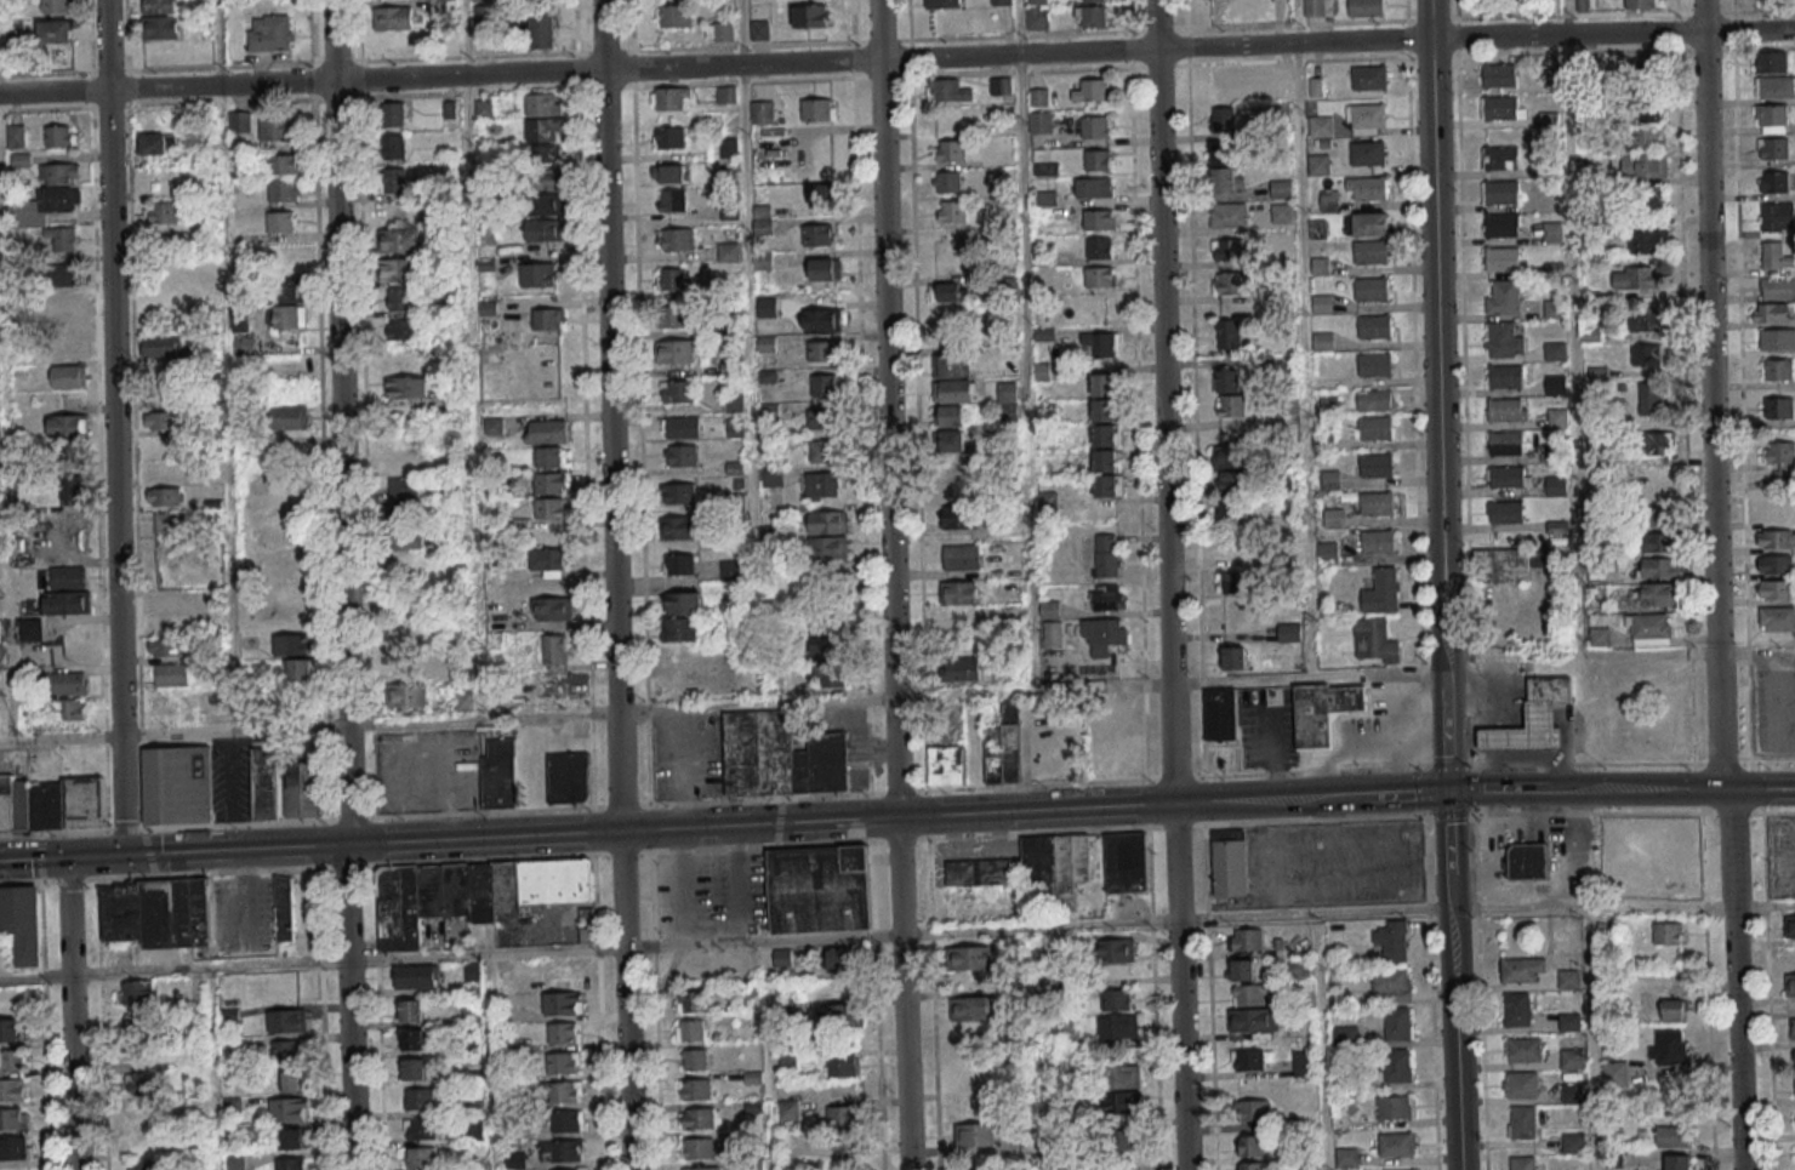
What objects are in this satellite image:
building: (1095, 0)
building: (1001, 1)
building: (944, 2)
building: (1641, 4)
building: (57, 6)
building: (160, 6)
building: (1318, 7)
building: (1367, 7)
park: (1508, 7)
building: (809, 15)
building: (673, 16)
building: (1092, 16)
building: (393, 17)
building: (1037, 17)
building: (160, 27)
building: (538, 29)
building: (758, 29)
building: (56, 30)
building: (720, 30)
building: (269, 32)
road: (896, 58)
building: (1772, 62)
building: (1647, 68)
building: (1499, 76)
building: (1223, 80)
building: (1368, 80)
building: (999, 85)
building: (1774, 86)
building: (947, 90)
building: (1092, 91)
building: (725, 95)
road: (1019, 95)
building: (669, 98)
building: (483, 109)
building: (817, 109)
building: (1499, 109)
building: (1649, 109)
building: (762, 112)
building: (393, 114)
building: (543, 116)
building: (1367, 118)
building: (1772, 118)
building: (1223, 119)
building: (1548, 119)
building: (240, 121)
building: (1039, 122)
building: (1095, 126)
building: (1321, 127)
building: (277, 129)
building: (16, 136)
building: (59, 136)
building: (668, 137)
building: (1649, 138)
building: (158, 145)
building: (393, 145)
building: (1773, 148)
building: (948, 150)
building: (543, 153)
building: (1366, 154)
building: (1098, 159)
building: (1501, 159)
building: (285, 164)
building: (1651, 165)
building: (1318, 166)
building: (1225, 167)
building: (1550, 169)
building: (668, 172)
building: (545, 178)
building: (394, 179)
building: (947, 181)
building: (1774, 181)
building: (1093, 187)
building: (284, 189)
building: (1369, 189)
building: (1281, 190)
building: (822, 193)
building: (1500, 194)
building: (49, 195)
building: (672, 199)
building: (1329, 199)
building: (1649, 201)
building: (543, 205)
building: (952, 211)
building: (163, 213)
building: (1281, 213)
building: (1229, 215)
building: (1778, 216)
building: (763, 219)
building: (1098, 219)
building: (281, 221)
building: (1501, 226)
building: (1369, 227)
building: (543, 230)
building: (1552, 233)
building: (816, 234)
building: (63, 238)
building: (677, 239)
building: (395, 240)
building: (1648, 241)
building: (1099, 247)
building: (728, 250)
building: (1229, 250)
building: (1369, 252)
building: (1776, 256)
building: (1501, 261)
building: (1320, 267)
building: (824, 269)
building: (397, 270)
building: (537, 274)
building: (65, 276)
building: (1100, 276)
building: (1634, 276)
building: (673, 280)
building: (1231, 284)
building: (1778, 289)
building: (948, 291)
building: (1371, 291)
building: (67, 299)
building: (401, 299)
building: (1503, 299)
building: (1322, 304)
building: (287, 306)
building: (1554, 310)
building: (1771, 312)
building: (676, 316)
building: (548, 318)
building: (821, 319)
building: (1647, 320)
building: (70, 325)
building: (1373, 329)
building: (404, 332)
building: (1229, 333)
building: (1778, 338)
building: (1323, 342)
building: (1503, 342)
building: (1101, 343)
road: (1436, 343)
building: (161, 346)
building: (68, 349)
building: (674, 350)
building: (822, 350)
building: (1555, 352)
building: (1648, 354)
building: (1010, 364)
building: (951, 366)
building: (1374, 366)
building: (1777, 369)
building: (1044, 371)
building: (69, 376)
building: (1505, 377)
building: (1226, 379)
road: (1740, 379)
building: (824, 384)
building: (1555, 386)
building: (408, 387)
building: (1104, 387)
building: (677, 390)
building: (953, 390)
building: (163, 395)
building: (1651, 398)
building: (1007, 400)
road: (1164, 401)
building: (1374, 401)
building: (731, 403)
building: (1231, 405)
building: (1779, 407)
road: (888, 409)
road: (1685, 410)
building: (1104, 412)
building: (1505, 412)
road: (610, 415)
building: (951, 415)
building: (289, 417)
building: (820, 418)
building: (1557, 420)
building: (163, 421)
road: (335, 422)
building: (68, 426)
road: (115, 427)
building: (680, 427)
building: (1374, 429)
building: (546, 430)
building: (1105, 438)
building: (952, 440)
building: (1658, 443)
building: (1505, 445)
building: (824, 451)
building: (73, 452)
building: (1549, 453)
building: (682, 455)
building: (551, 456)
building: (1231, 456)
building: (1780, 461)
building: (401, 462)
building: (1105, 463)
building: (1375, 467)
building: (771, 476)
building: (1506, 478)
building: (1233, 480)
building: (1330, 480)
building: (551, 483)
building: (822, 486)
building: (1555, 486)
building: (72, 487)
building: (404, 487)
building: (1106, 487)
building: (678, 492)
building: (1657, 493)
building: (164, 496)
building: (958, 501)
building: (1375, 504)
building: (551, 508)
building: (1238, 509)
building: (1776, 513)
building: (1506, 514)
building: (1333, 519)
building: (827, 521)
building: (166, 523)
building: (1599, 524)
building: (679, 526)
building: (405, 527)
building: (1776, 538)
building: (1656, 542)
building: (1378, 543)
building: (828, 547)
building: (1328, 553)
building: (1106, 554)
building: (961, 557)
building: (1235, 557)
building: (546, 561)
building: (679, 563)
building: (1505, 564)
building: (1777, 564)
building: (1659, 567)
building: (731, 570)
building: (1595, 573)
building: (68, 577)
building: (1238, 582)
road: (1715, 584)
building: (1776, 588)
building: (958, 592)
building: (1383, 592)
building: (1657, 594)
building: (1106, 598)
building: (165, 599)
building: (68, 603)
building: (683, 603)
building: (552, 609)
building: (1049, 609)
building: (962, 615)
building: (1777, 620)
building: (680, 628)
building: (30, 629)
building: (1651, 629)
building: (1053, 633)
building: (1101, 634)
building: (1599, 638)
building: (1374, 640)
building: (165, 646)
building: (827, 647)
building: (553, 649)
building: (0, 652)
building: (73, 654)
building: (298, 655)
building: (1233, 657)
building: (400, 664)
road: (1785, 667)
building: (962, 668)
building: (171, 674)
building: (830, 674)
building: (68, 681)
building: (551, 685)
road: (1030, 691)
building: (1550, 691)
building: (406, 695)
building: (465, 700)
road: (1477, 707)
building: (72, 709)
building: (1323, 712)
building: (1219, 715)
road: (308, 726)
building: (1527, 734)
road: (1446, 740)
road: (854, 744)
building: (1003, 747)
building: (780, 757)
road: (1521, 757)
road: (1772, 758)
building: (946, 764)
road: (684, 769)
building: (500, 772)
road: (1489, 775)
building: (569, 777)
road: (1173, 778)
building: (264, 782)
building: (177, 784)
building: (302, 789)
road: (1676, 789)
road: (1504, 792)
traffic signals: (1448, 793)
road: (1400, 794)
road: (1309, 798)
building: (51, 804)
road: (1451, 812)
road: (1594, 812)
road: (1732, 812)
road: (1773, 812)
road: (632, 831)
road: (975, 843)
road: (713, 849)
road: (1449, 850)
traffic signals: (124, 855)
traffic signals: (65, 858)
building: (1527, 860)
building: (1126, 862)
building: (1230, 864)
road: (1782, 866)
building: (1032, 869)
road: (1413, 879)
road: (740, 883)
road: (689, 886)
building: (819, 889)
building: (471, 892)
road: (246, 895)
road: (1280, 897)
building: (284, 906)
road: (1623, 908)
road: (1366, 911)
building: (156, 912)
road: (1232, 915)
building: (22, 923)
road: (1039, 926)
building: (1789, 926)
building: (1608, 931)
building: (1669, 932)
building: (1247, 938)
building: (1392, 941)
road: (625, 948)
building: (1116, 949)
building: (782, 958)
building: (970, 958)
building: (840, 959)
road: (173, 969)
building: (1242, 969)
building: (1521, 969)
building: (416, 976)
building: (1569, 978)
building: (1392, 984)
building: (1790, 984)
road: (1179, 987)
building: (137, 992)
road: (902, 993)
building: (1253, 994)
building: (1116, 999)
road: (626, 1000)
building: (690, 1000)
building: (563, 1003)
road: (351, 1006)
building: (971, 1008)
building: (1517, 1008)
building: (411, 1010)
building: (1674, 1010)
road: (72, 1014)
building: (837, 1015)
building: (287, 1020)
building: (1254, 1020)
building: (1569, 1021)
building: (1398, 1022)
building: (138, 1023)
building: (1118, 1026)
building: (1794, 1028)
building: (12, 1029)
building: (690, 1029)
building: (564, 1032)
building: (412, 1039)
road: (1454, 1039)
road: (1592, 1039)
road: (1321, 1041)
road: (1048, 1048)
building: (1668, 1048)
building: (1523, 1049)
building: (287, 1050)
road: (767, 1055)
building: (694, 1058)
building: (1572, 1058)
building: (1248, 1060)
building: (1794, 1060)
building: (11, 1061)
building: (564, 1062)
building: (1304, 1062)
building: (842, 1065)
building: (1397, 1065)
building: (414, 1068)
building: (1614, 1073)
building: (1121, 1075)
building: (292, 1079)
building: (1521, 1084)
building: (144, 1085)
building: (1794, 1085)
building: (12, 1089)
building: (695, 1089)
building: (564, 1091)
building: (1572, 1092)
building: (418, 1098)
building: (1121, 1103)
building: (1396, 1107)
building: (289, 1108)
building: (788, 1109)
building: (1253, 1109)
building: (696, 1117)
building: (13, 1118)
building: (142, 1118)
building: (568, 1120)
building: (1522, 1122)
building: (844, 1126)
building: (423, 1128)
building: (976, 1134)
building: (250, 1135)
building: (1673, 1136)
building: (292, 1137)
building: (1122, 1140)
building: (1573, 1142)
building: (1396, 1143)
building: (1250, 1145)
building: (15, 1148)
building: (697, 1148)
building: (566, 1149)
building: (421, 1157)
building: (1346, 1157)
building: (1677, 1162)
building: (291, 1163)
building: (1522, 1163)
building: (144, 1165)
building: (1252, 1165)
building: (701, 1168)
building: (569, 1169)

